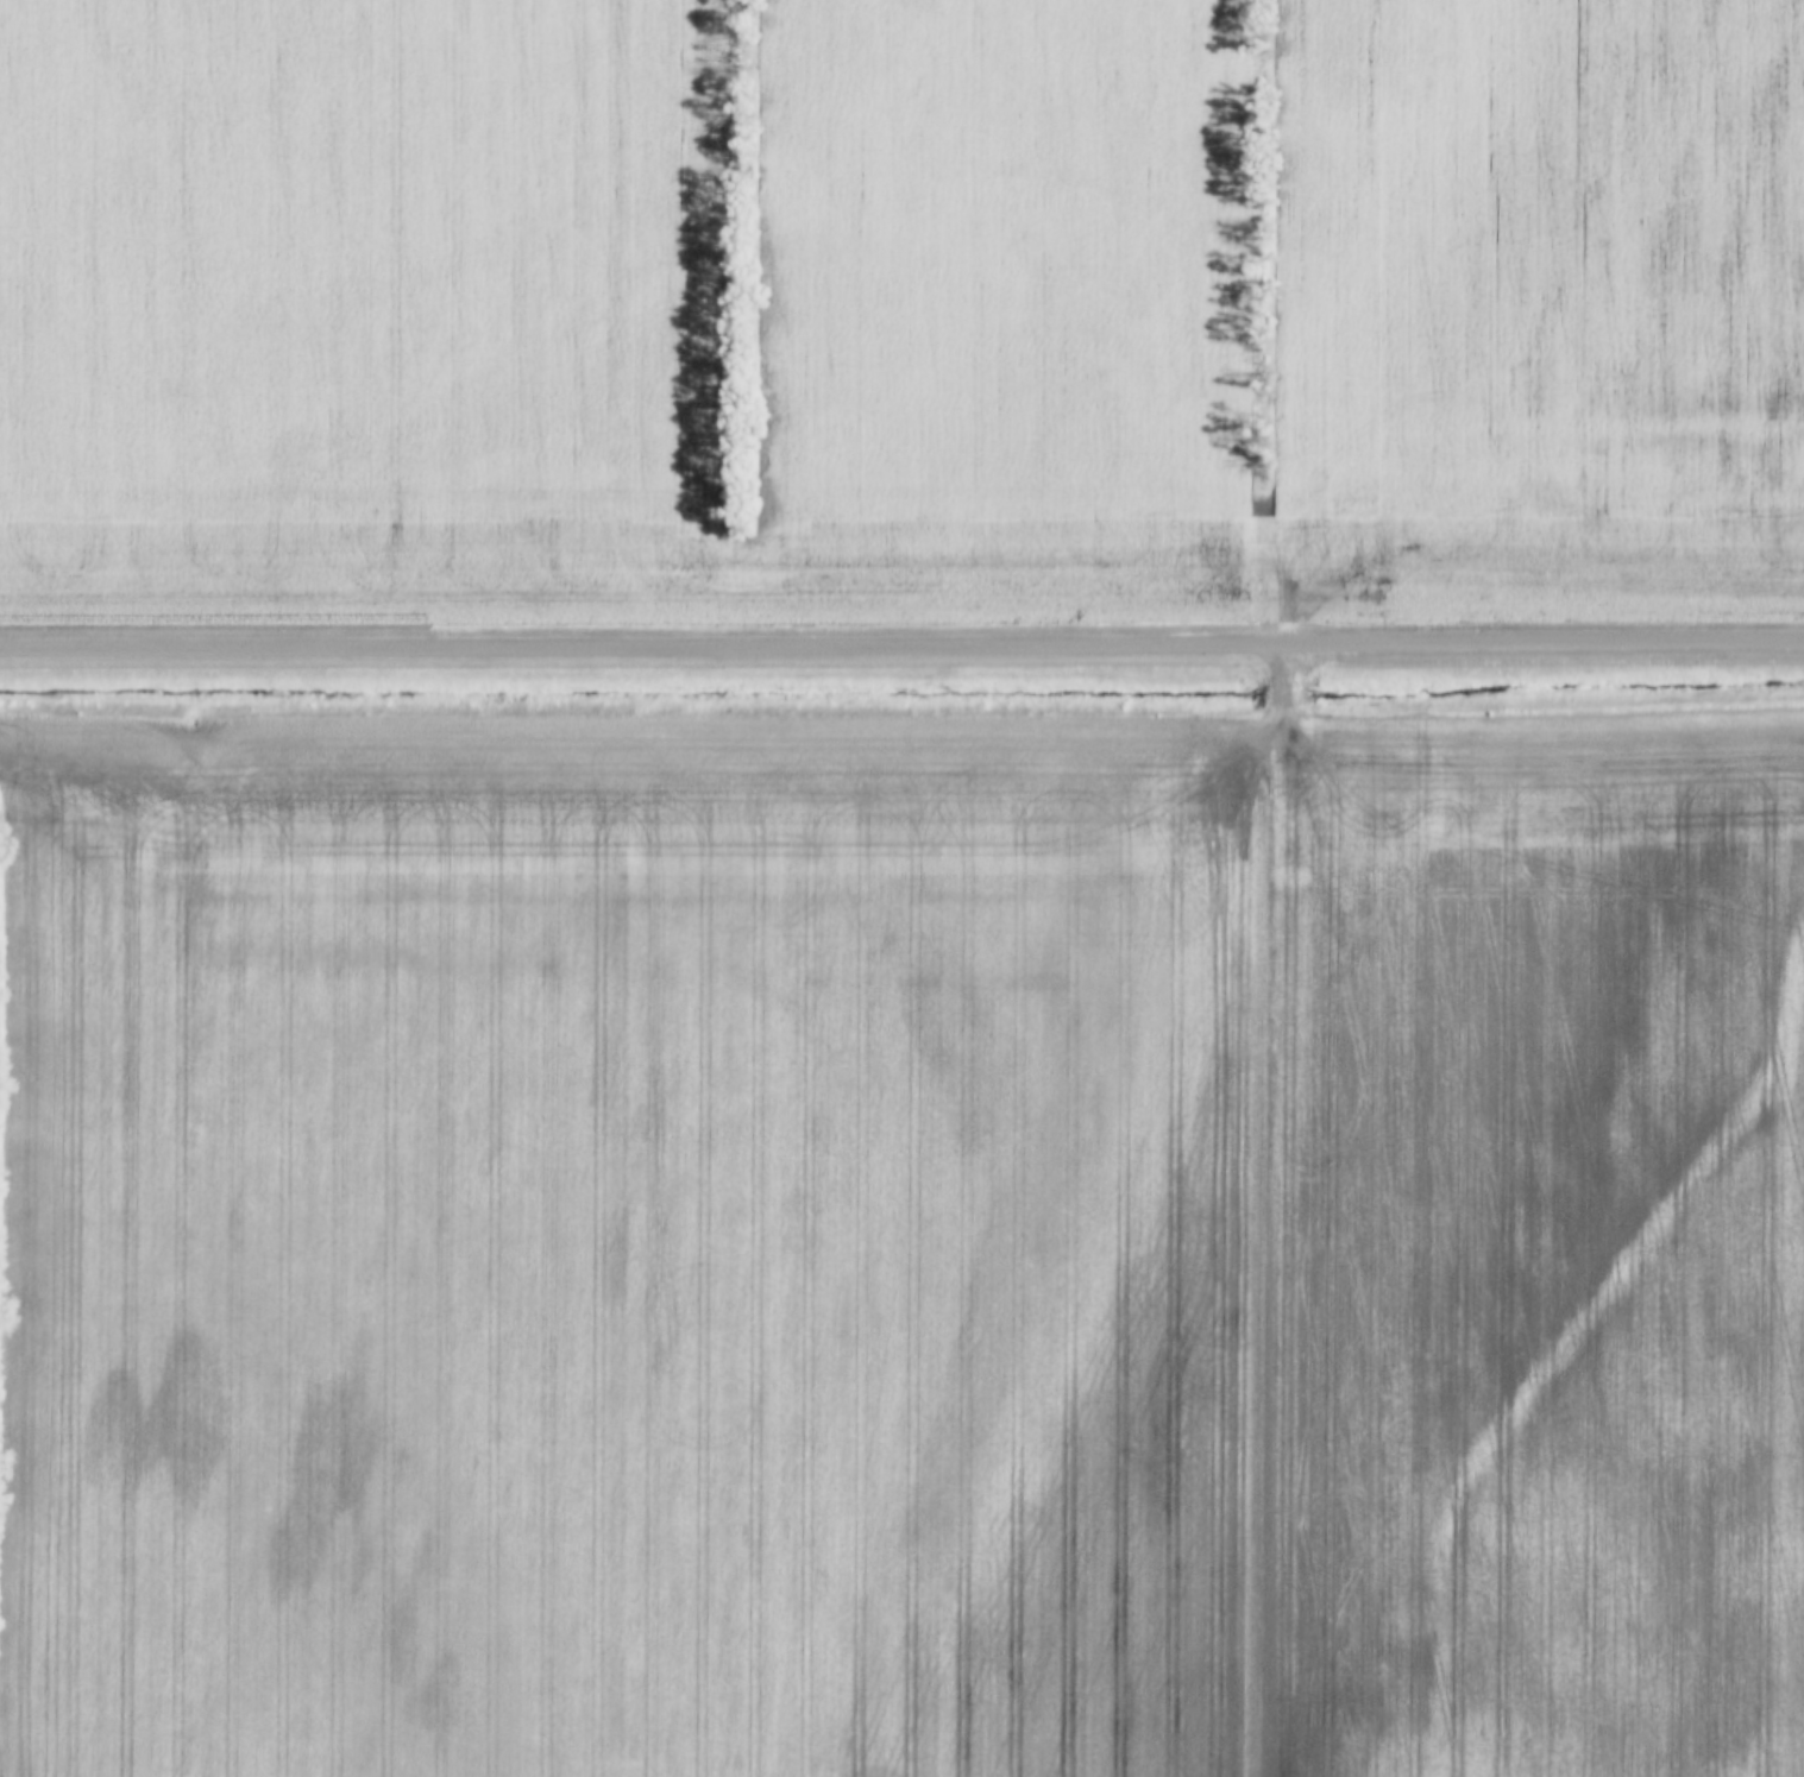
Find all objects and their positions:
road: (901, 653)

